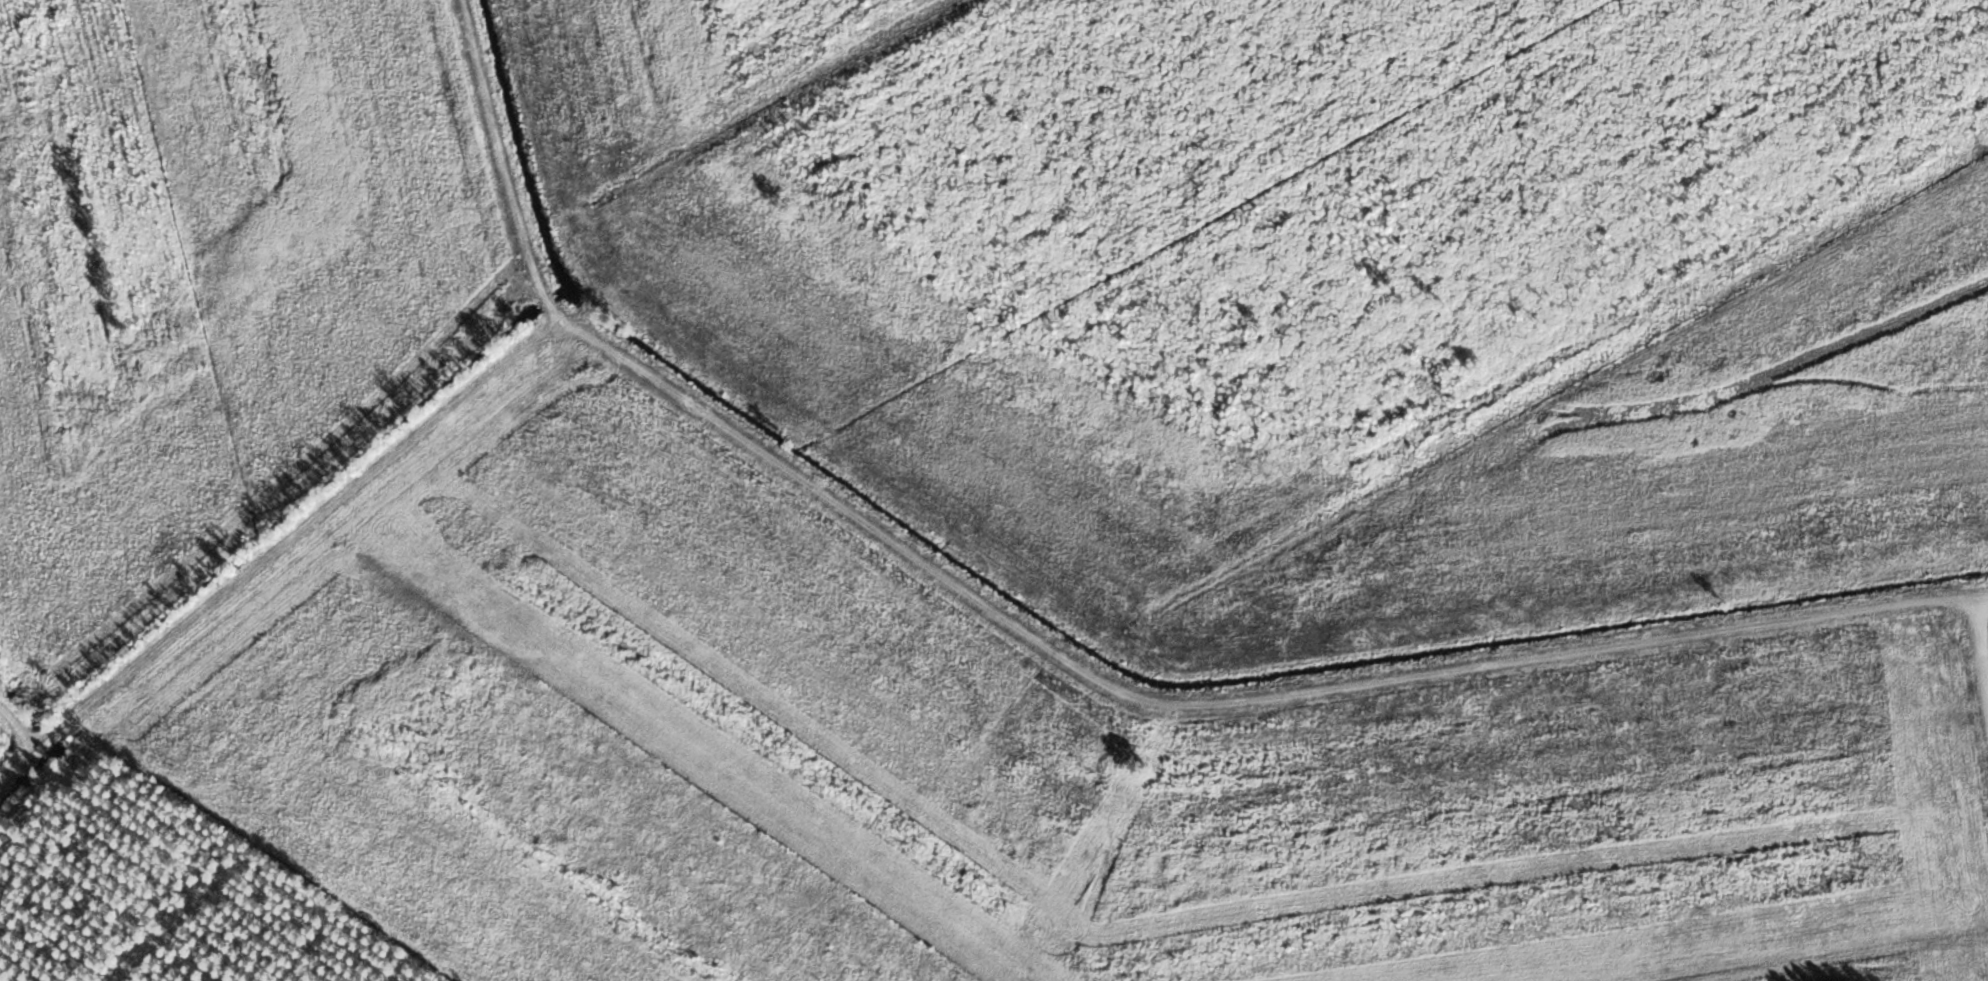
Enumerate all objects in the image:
road: (476, 188)
road: (908, 629)
road: (16, 724)
road: (1964, 836)

